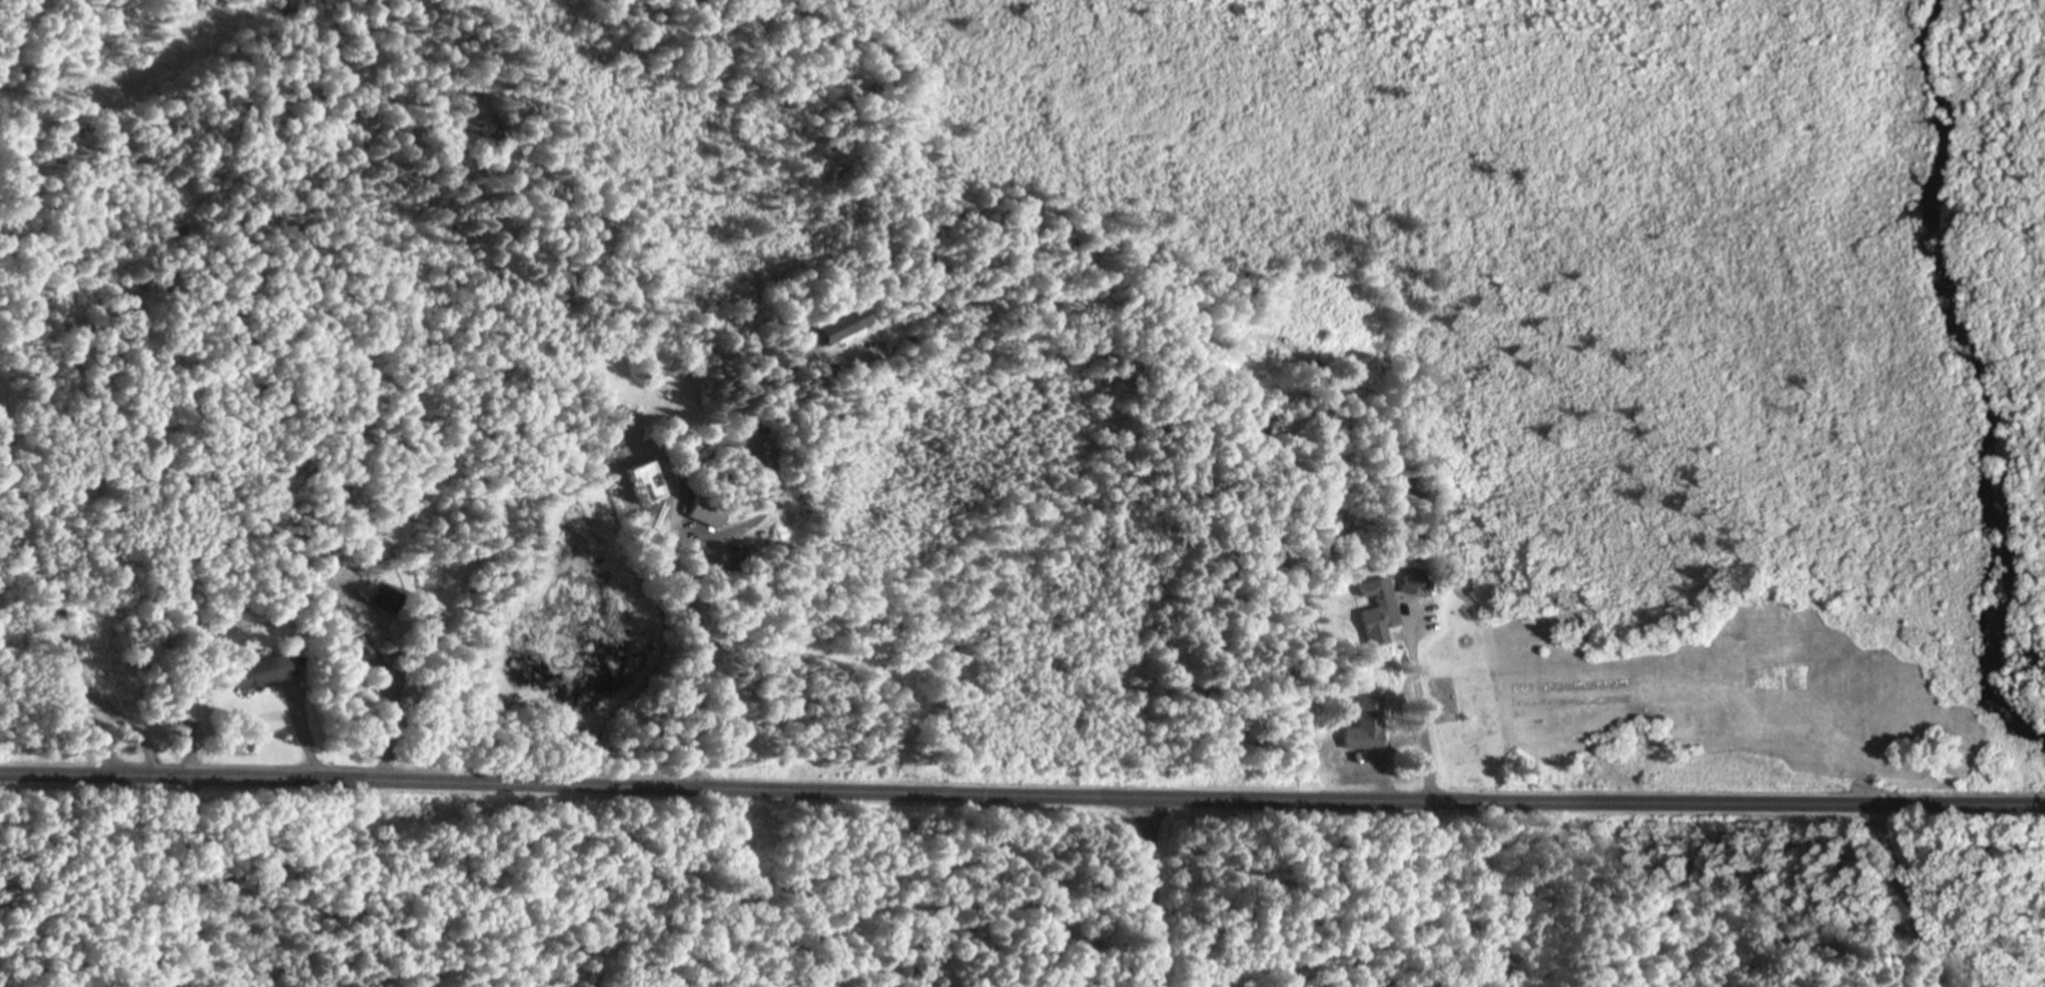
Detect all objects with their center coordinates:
building: (852, 325)
road: (1373, 488)
building: (708, 513)
building: (1374, 590)
building: (271, 672)
road: (1022, 788)
road: (1154, 889)
road: (1915, 890)

